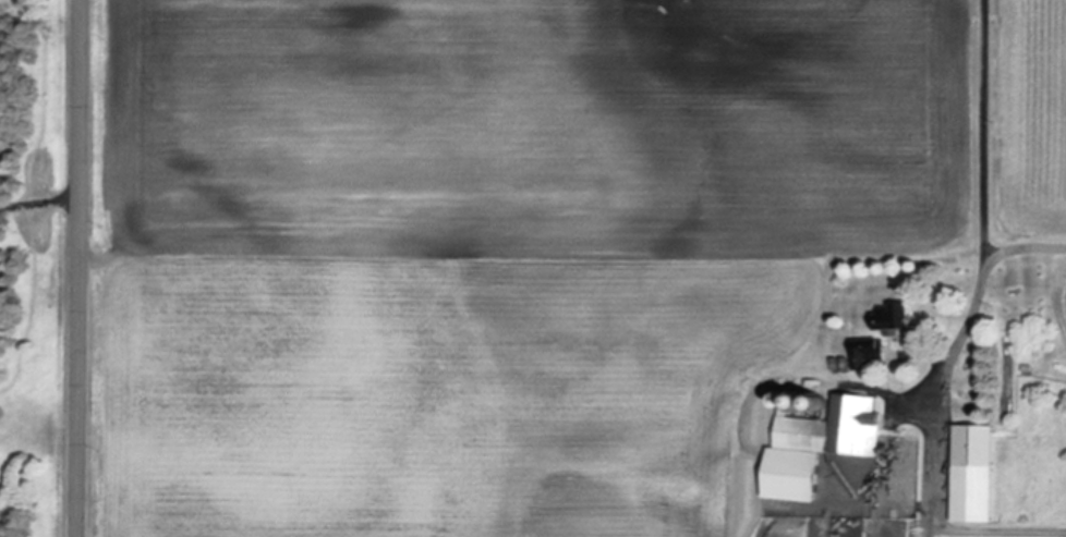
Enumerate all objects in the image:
road: (40, 206)
road: (1021, 246)
road: (80, 268)
road: (1057, 295)
building: (893, 320)
road: (962, 327)
building: (867, 355)
building: (822, 448)
building: (977, 476)

